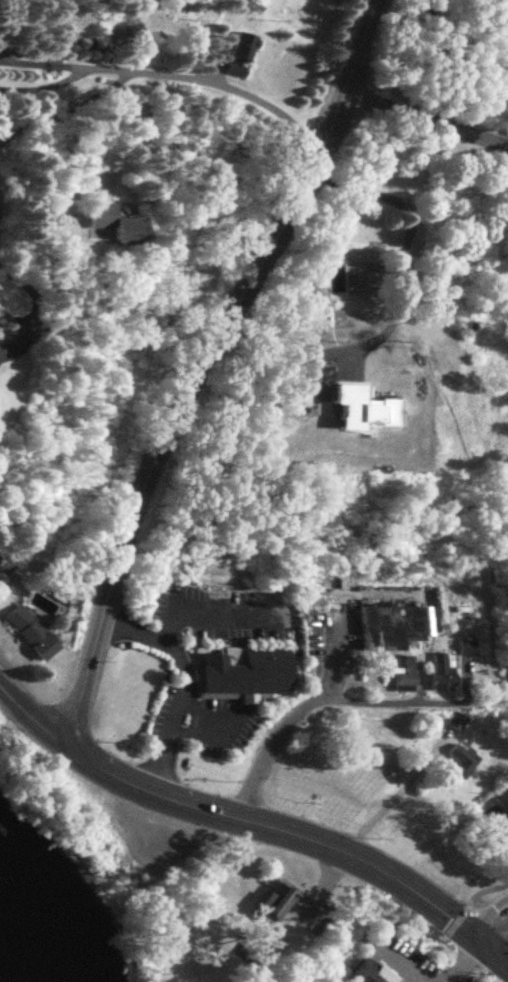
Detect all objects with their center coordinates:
road: (3, 20)
road: (69, 34)
building: (240, 52)
road: (451, 59)
road: (49, 65)
road: (27, 72)
road: (221, 83)
road: (56, 116)
road: (427, 119)
road: (134, 130)
building: (114, 220)
building: (361, 235)
road: (402, 251)
building: (12, 339)
road: (206, 367)
building: (390, 626)
building: (31, 631)
road: (333, 646)
building: (468, 646)
building: (245, 672)
building: (441, 672)
building: (402, 673)
road: (186, 684)
road: (338, 698)
road: (33, 718)
building: (462, 758)
road: (390, 794)
road: (279, 828)
building: (496, 834)
building: (273, 901)
road: (438, 922)
road: (492, 925)
road: (492, 950)
river: (9, 968)
building: (367, 972)

